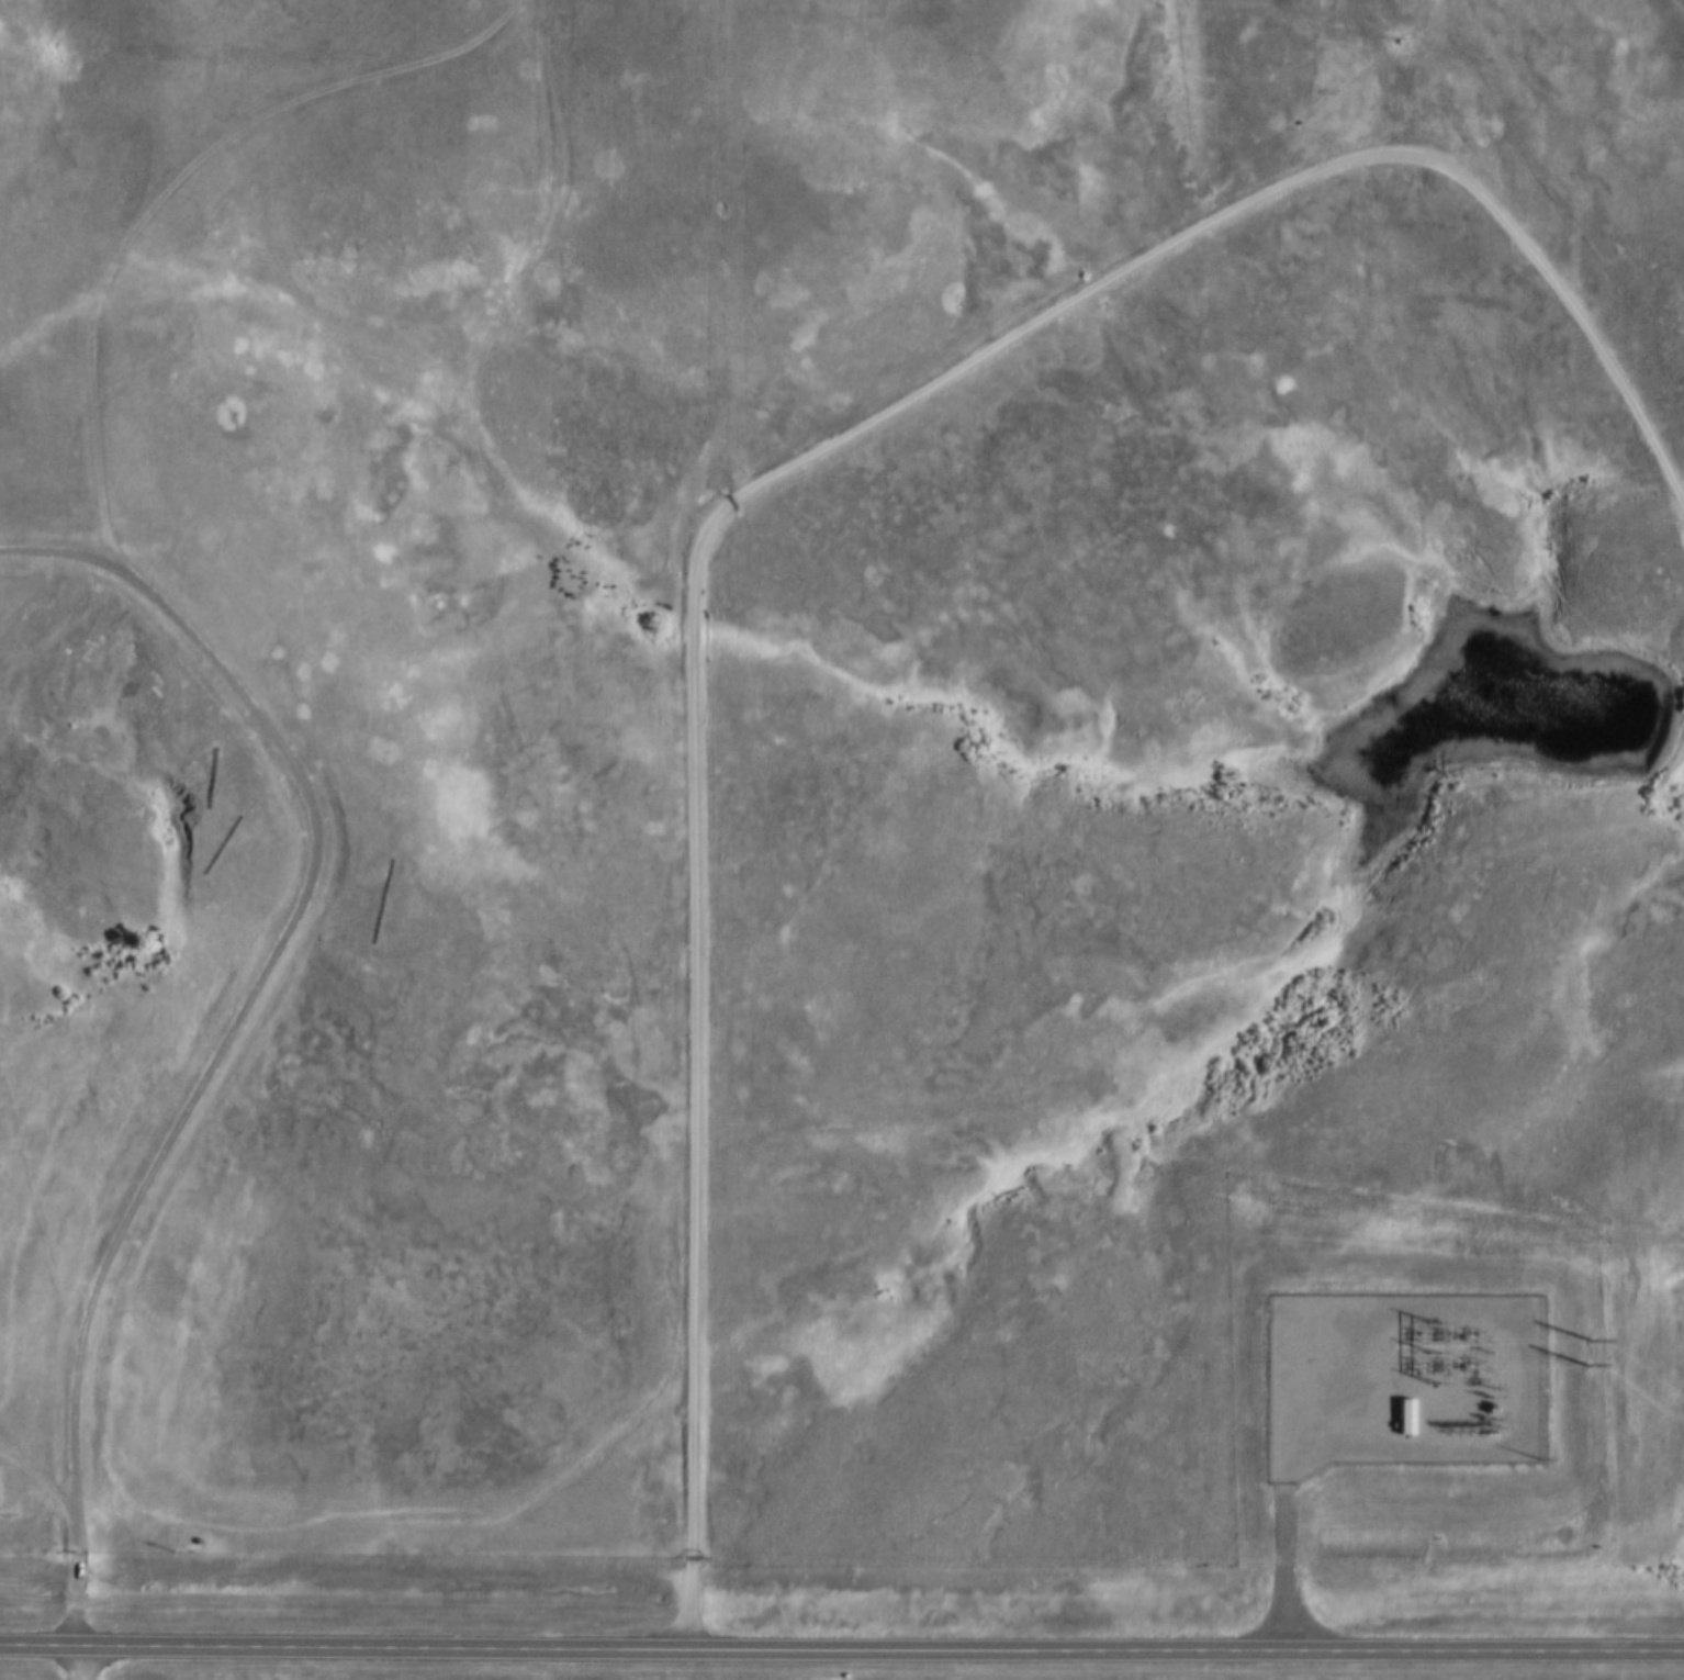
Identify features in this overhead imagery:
road: (161, 194)
road: (729, 250)
road: (770, 484)
road: (238, 1019)
power substation: (1401, 1378)
road: (36, 1476)
road: (841, 1647)
road: (75, 1664)

